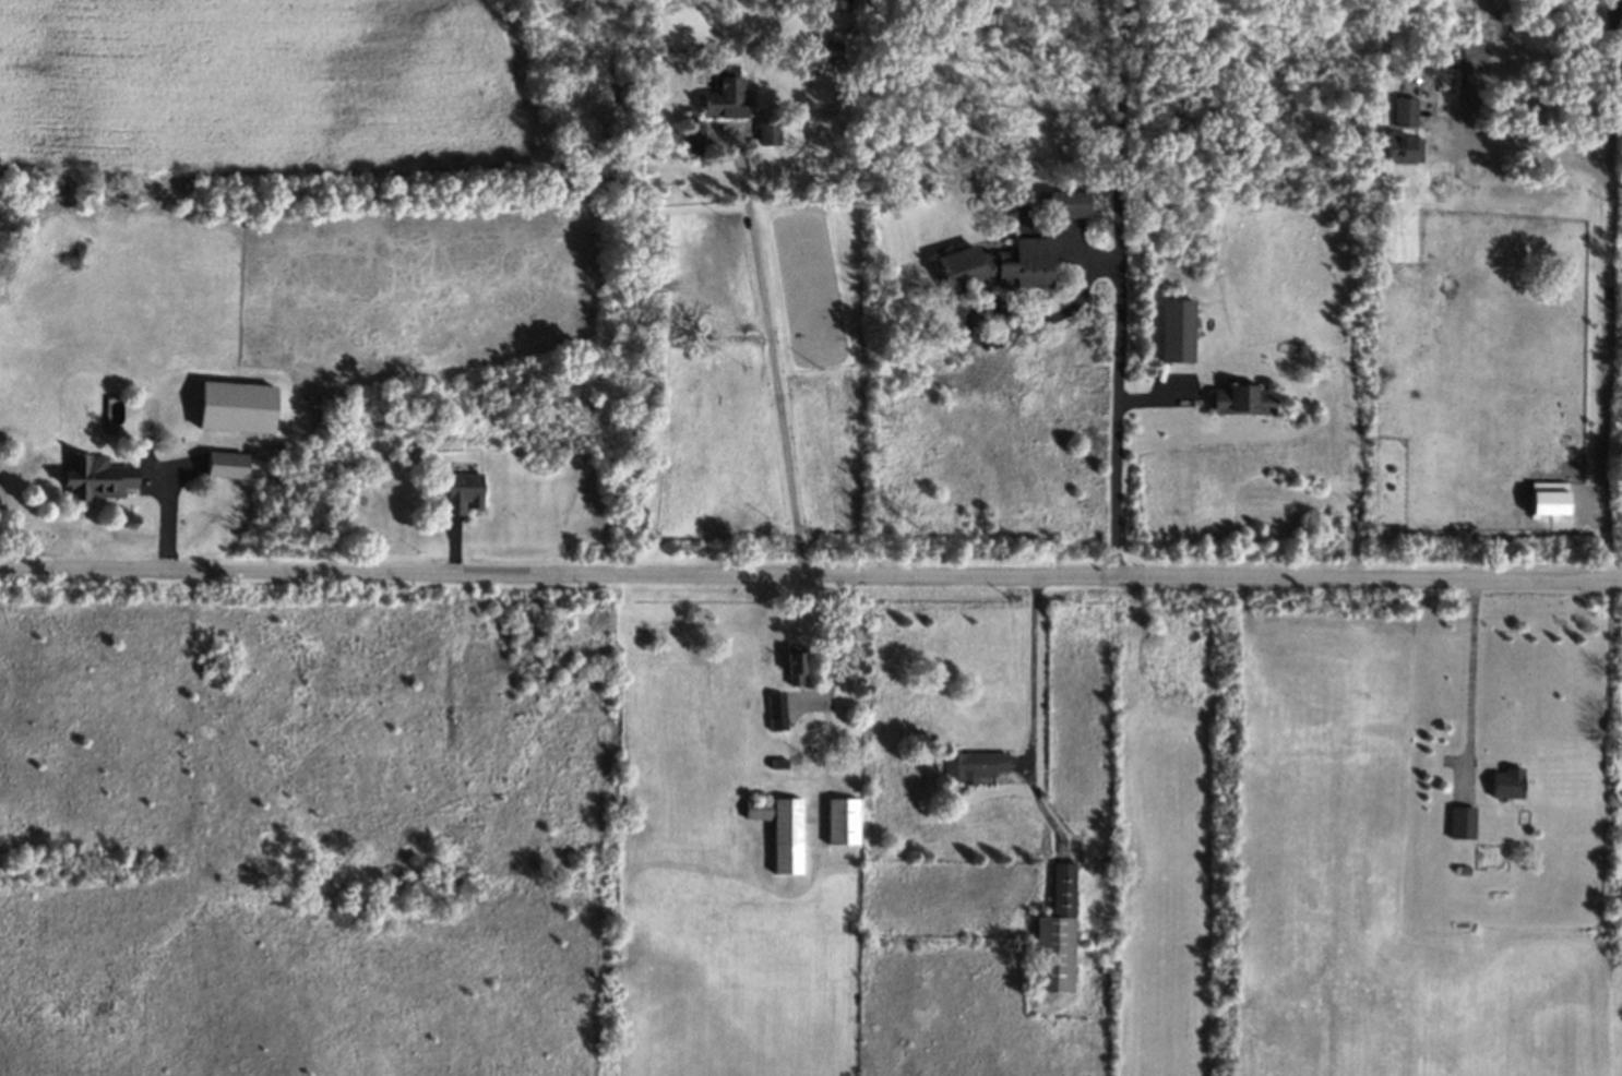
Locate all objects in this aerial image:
building: (837, 4)
road: (748, 69)
building: (725, 95)
road: (1611, 97)
building: (1405, 113)
building: (768, 133)
building: (693, 134)
building: (1403, 151)
building: (1066, 205)
building: (995, 266)
road: (1609, 285)
road: (1119, 288)
crop: (288, 299)
building: (1177, 331)
road: (768, 362)
crop: (1489, 364)
building: (1243, 400)
building: (234, 408)
building: (225, 466)
building: (97, 478)
building: (461, 493)
building: (1549, 498)
road: (810, 576)
road: (837, 638)
building: (796, 665)
road: (1471, 686)
building: (776, 712)
road: (1033, 713)
building: (974, 766)
building: (1507, 784)
building: (758, 811)
building: (842, 822)
building: (1463, 823)
building: (786, 837)
building: (1465, 870)
crop: (1161, 885)
building: (1057, 933)

